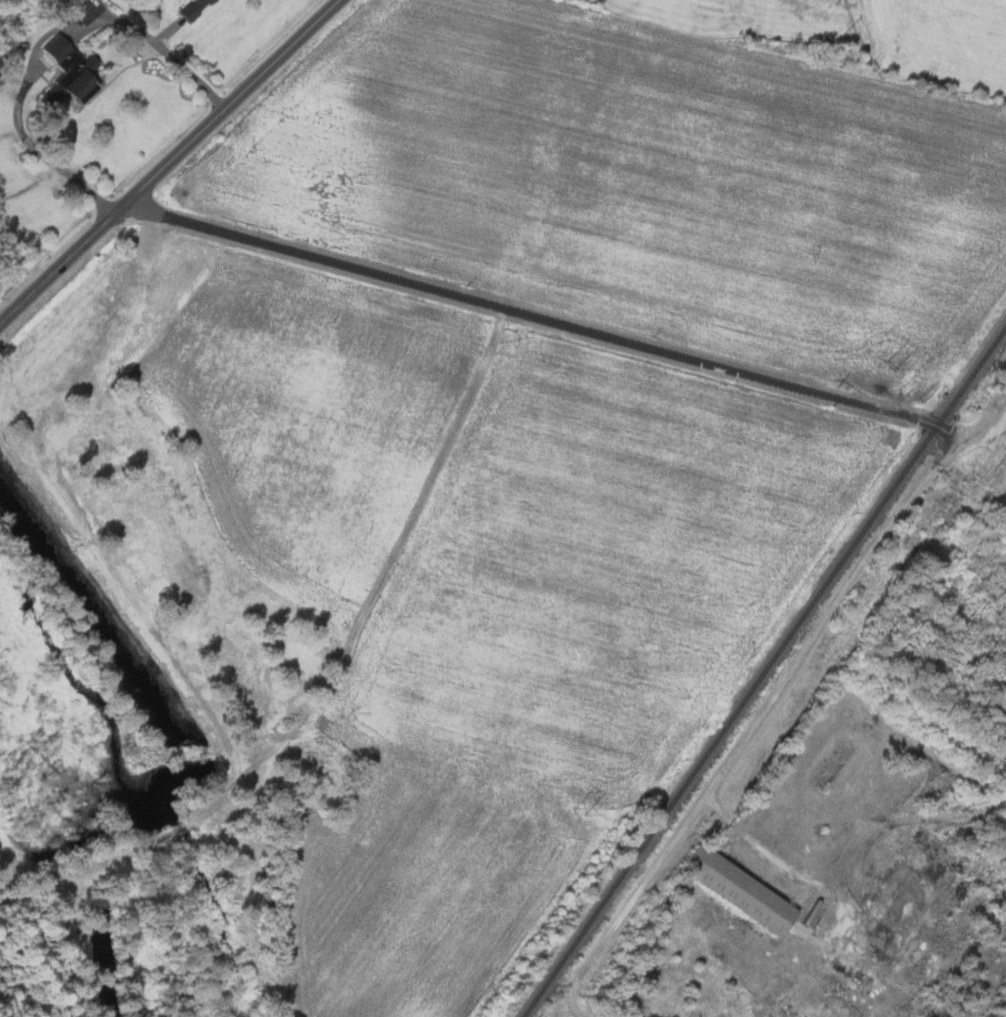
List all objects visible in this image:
road: (42, 37)
building: (64, 71)
road: (233, 102)
road: (60, 263)
road: (541, 320)
power tower: (896, 364)
road: (986, 420)
railway: (766, 672)
road: (759, 728)
power tower: (580, 810)
building: (736, 888)

